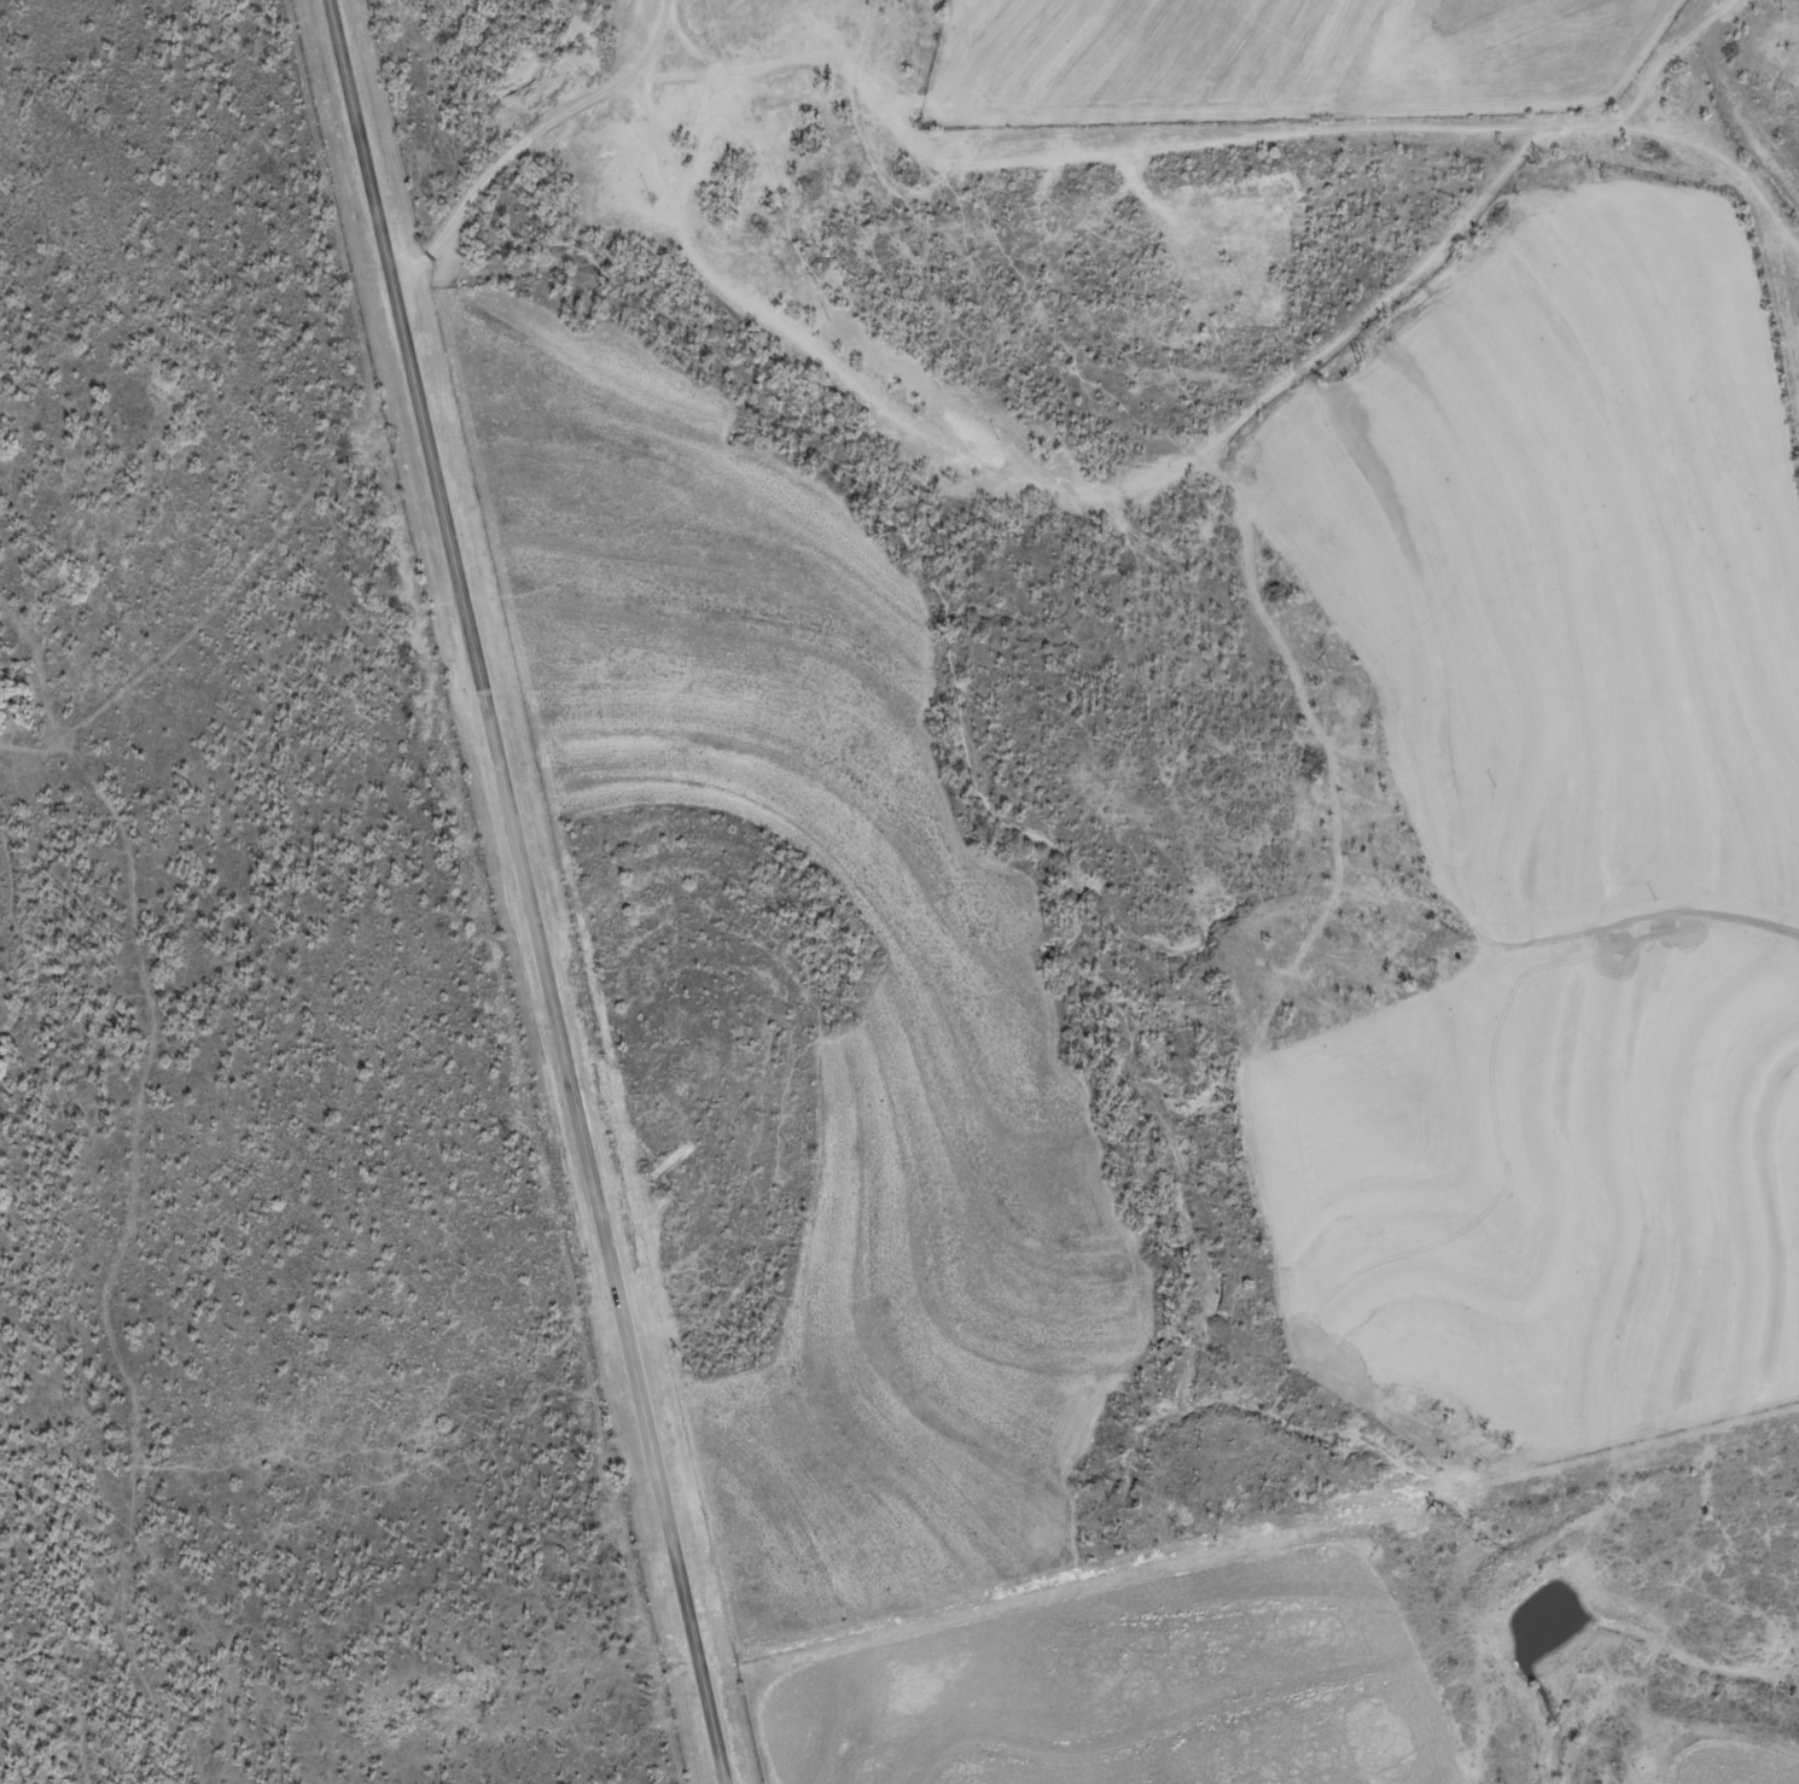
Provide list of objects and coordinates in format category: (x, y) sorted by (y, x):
road: (650, 53)
road: (1664, 60)
road: (569, 111)
road: (1193, 142)
road: (519, 146)
road: (362, 158)
road: (452, 227)
road: (559, 1050)

